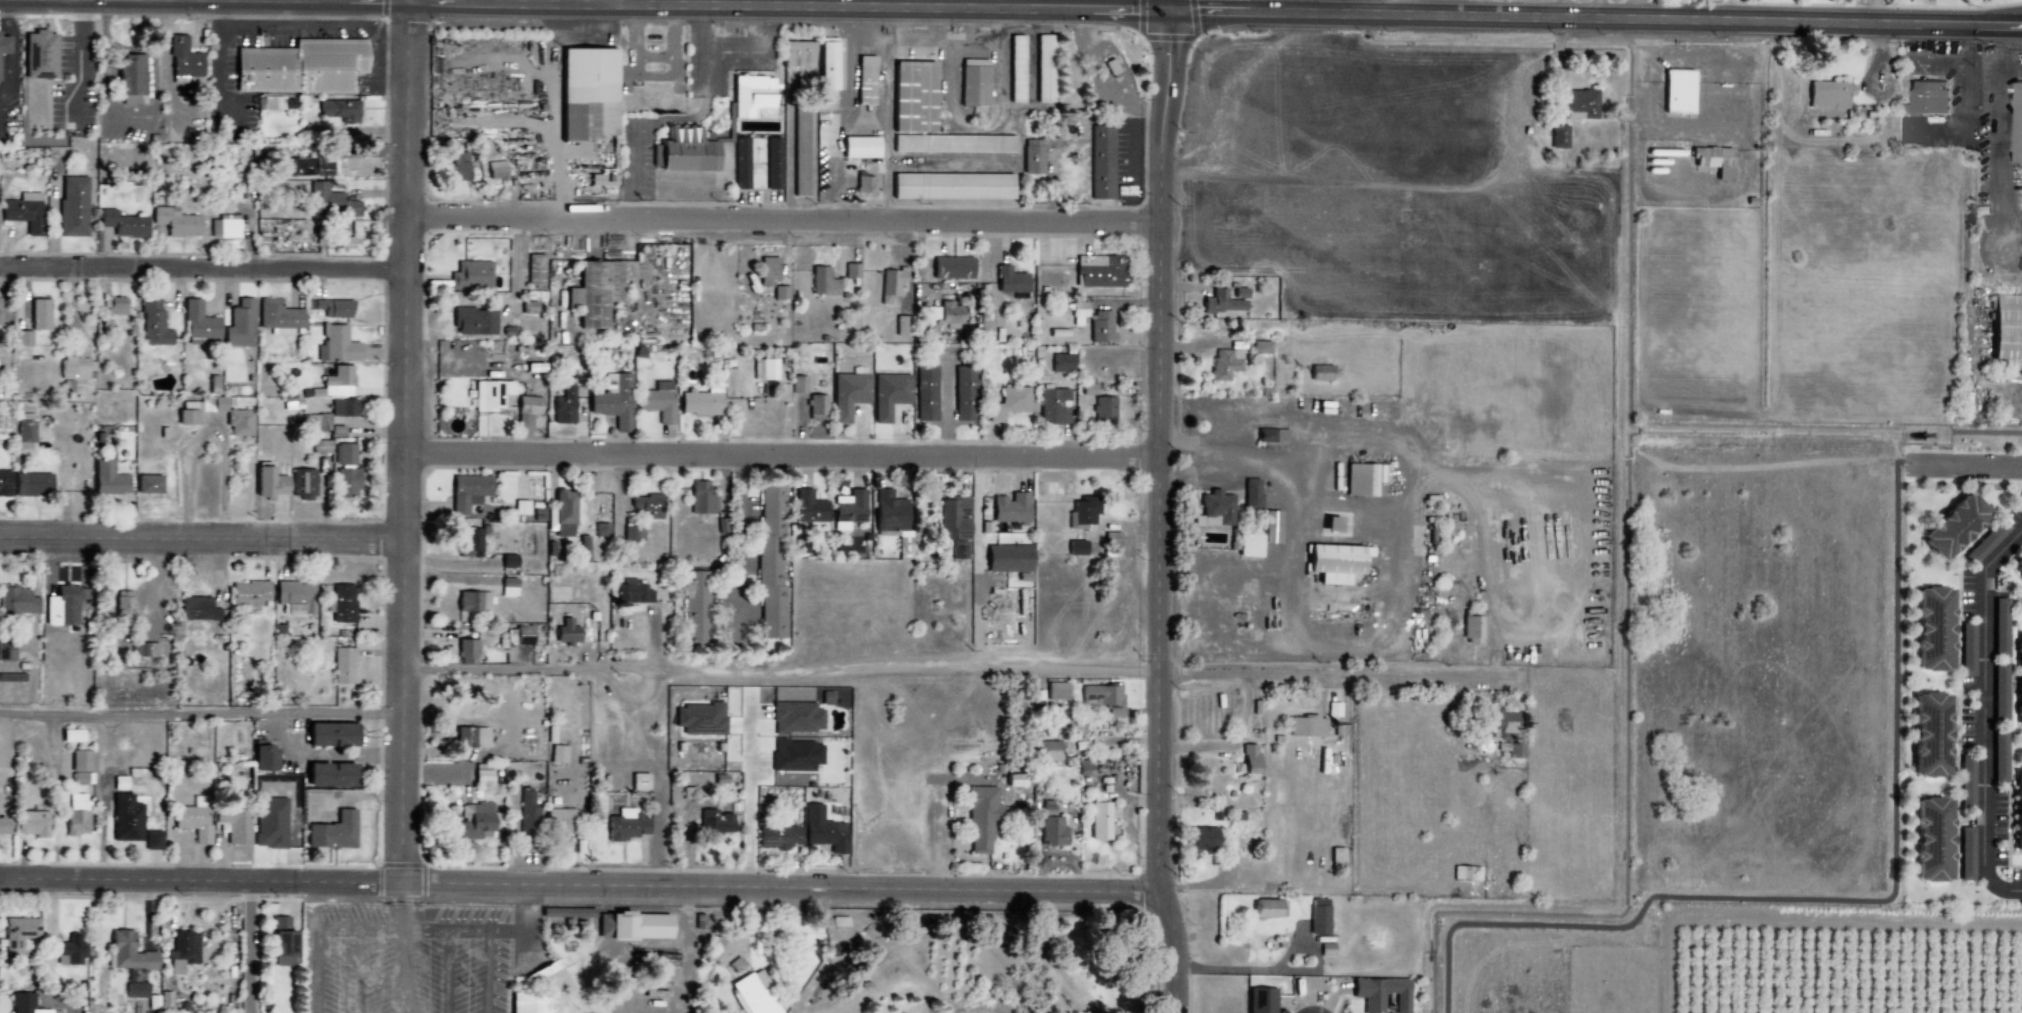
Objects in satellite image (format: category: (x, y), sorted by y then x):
road: (42, 1)
road: (120, 1)
road: (232, 1)
road: (677, 7)
road: (1730, 11)
road: (1864, 13)
road: (1688, 22)
building: (3, 44)
building: (798, 54)
building: (38, 55)
building: (182, 58)
building: (827, 63)
building: (300, 66)
building: (1015, 68)
building: (1043, 68)
building: (1110, 68)
building: (131, 78)
building: (865, 83)
building: (973, 86)
building: (1677, 91)
building: (586, 92)
building: (1829, 94)
building: (752, 97)
building: (913, 97)
building: (1926, 97)
building: (271, 103)
building: (1579, 104)
building: (340, 114)
building: (2018, 123)
building: (1558, 136)
building: (953, 143)
building: (859, 146)
building: (682, 151)
building: (800, 153)
building: (1035, 153)
building: (1714, 160)
building: (773, 162)
building: (1101, 162)
building: (741, 163)
building: (460, 166)
building: (307, 167)
building: (495, 170)
building: (601, 179)
building: (864, 183)
building: (951, 186)
building: (329, 201)
building: (72, 206)
building: (23, 211)
road: (787, 216)
road: (1970, 218)
building: (175, 222)
building: (122, 223)
building: (224, 226)
building: (344, 242)
road: (1782, 250)
road: (204, 266)
building: (951, 267)
building: (535, 269)
building: (851, 270)
building: (767, 271)
building: (1098, 271)
building: (470, 275)
building: (1009, 280)
building: (822, 281)
building: (890, 286)
building: (594, 292)
building: (779, 292)
building: (1240, 293)
building: (1221, 303)
building: (113, 305)
building: (529, 307)
building: (333, 308)
building: (1078, 312)
building: (931, 313)
building: (39, 314)
building: (950, 315)
building: (278, 317)
building: (473, 321)
building: (197, 323)
building: (153, 324)
building: (239, 325)
building: (2006, 326)
building: (1100, 327)
building: (902, 329)
building: (22, 337)
building: (335, 345)
building: (1260, 347)
building: (1061, 362)
building: (1224, 363)
building: (76, 365)
building: (763, 369)
building: (336, 382)
road: (1651, 387)
building: (925, 393)
building: (964, 393)
building: (490, 394)
building: (848, 394)
building: (888, 394)
building: (657, 400)
building: (701, 401)
building: (614, 403)
building: (1008, 403)
building: (202, 404)
building: (563, 406)
building: (1053, 406)
building: (816, 407)
building: (343, 408)
building: (526, 410)
building: (1103, 410)
building: (185, 417)
building: (238, 422)
building: (24, 432)
road: (207, 432)
building: (1271, 435)
road: (409, 439)
road: (785, 452)
building: (344, 454)
road: (1967, 464)
building: (107, 479)
building: (1362, 480)
building: (5, 482)
building: (304, 482)
building: (346, 483)
building: (30, 484)
building: (147, 484)
building: (467, 491)
building: (1251, 494)
building: (700, 498)
building: (646, 505)
building: (520, 507)
building: (1010, 507)
road: (1161, 507)
building: (848, 509)
building: (809, 510)
building: (1084, 510)
building: (1213, 510)
building: (888, 511)
building: (563, 513)
building: (954, 518)
building: (1271, 527)
building: (1953, 527)
building: (600, 530)
building: (632, 533)
road: (204, 536)
building: (900, 539)
road: (1290, 539)
building: (469, 542)
building: (1248, 546)
building: (1076, 547)
building: (553, 548)
building: (958, 550)
building: (507, 560)
building: (770, 562)
building: (1334, 562)
building: (2017, 566)
building: (507, 587)
building: (633, 592)
building: (248, 593)
building: (294, 596)
building: (16, 602)
building: (472, 602)
building: (342, 603)
building: (60, 606)
building: (196, 609)
building: (695, 609)
building: (122, 610)
building: (1999, 627)
building: (1471, 629)
building: (1932, 629)
building: (573, 634)
building: (522, 635)
building: (6, 649)
building: (142, 650)
building: (465, 652)
building: (342, 666)
road: (785, 668)
road: (1340, 673)
building: (2018, 682)
building: (1055, 691)
building: (825, 698)
building: (1103, 698)
road: (204, 711)
road: (1983, 713)
building: (796, 718)
building: (699, 719)
building: (1306, 726)
building: (1505, 732)
building: (328, 735)
building: (1929, 735)
building: (470, 737)
building: (1046, 751)
building: (556, 754)
building: (795, 755)
building: (261, 757)
building: (1249, 759)
building: (79, 767)
building: (328, 775)
building: (481, 777)
building: (638, 781)
building: (1014, 781)
building: (686, 793)
building: (1046, 808)
building: (76, 814)
building: (527, 814)
building: (2016, 815)
building: (980, 818)
building: (1098, 818)
building: (125, 819)
building: (193, 820)
building: (559, 820)
building: (269, 822)
building: (714, 822)
building: (31, 823)
building: (471, 823)
building: (233, 825)
building: (625, 825)
building: (3, 826)
building: (822, 830)
building: (332, 832)
building: (1051, 832)
building: (776, 838)
building: (1202, 839)
building: (152, 840)
building: (1931, 840)
building: (1465, 873)
road: (580, 882)
road: (398, 905)
railway: (587, 909)
building: (1268, 909)
railway: (688, 910)
railway: (587, 911)
building: (572, 912)
railway: (979, 914)
building: (1318, 916)
building: (631, 925)
railway: (867, 928)
road: (316, 929)
road: (482, 932)
building: (17, 933)
railway: (1087, 934)
building: (281, 941)
road: (250, 945)
building: (1326, 948)
building: (70, 949)
road: (685, 949)
railway: (988, 949)
building: (182, 950)
building: (715, 951)
railway: (1065, 951)
railway: (1071, 951)
building: (128, 952)
railway: (702, 953)
railway: (1042, 953)
railway: (1076, 955)
railway: (1071, 958)
railway: (1067, 960)
railway: (1077, 960)
railway: (1076, 965)
railway: (1071, 969)
road: (397, 971)
railway: (1043, 979)
building: (135, 989)
building: (1380, 993)
building: (754, 994)
railway: (1029, 999)
building: (1261, 999)
railway: (1034, 1000)
building: (528, 1002)
building: (24, 1003)
building: (71, 1008)
railway: (974, 1010)

